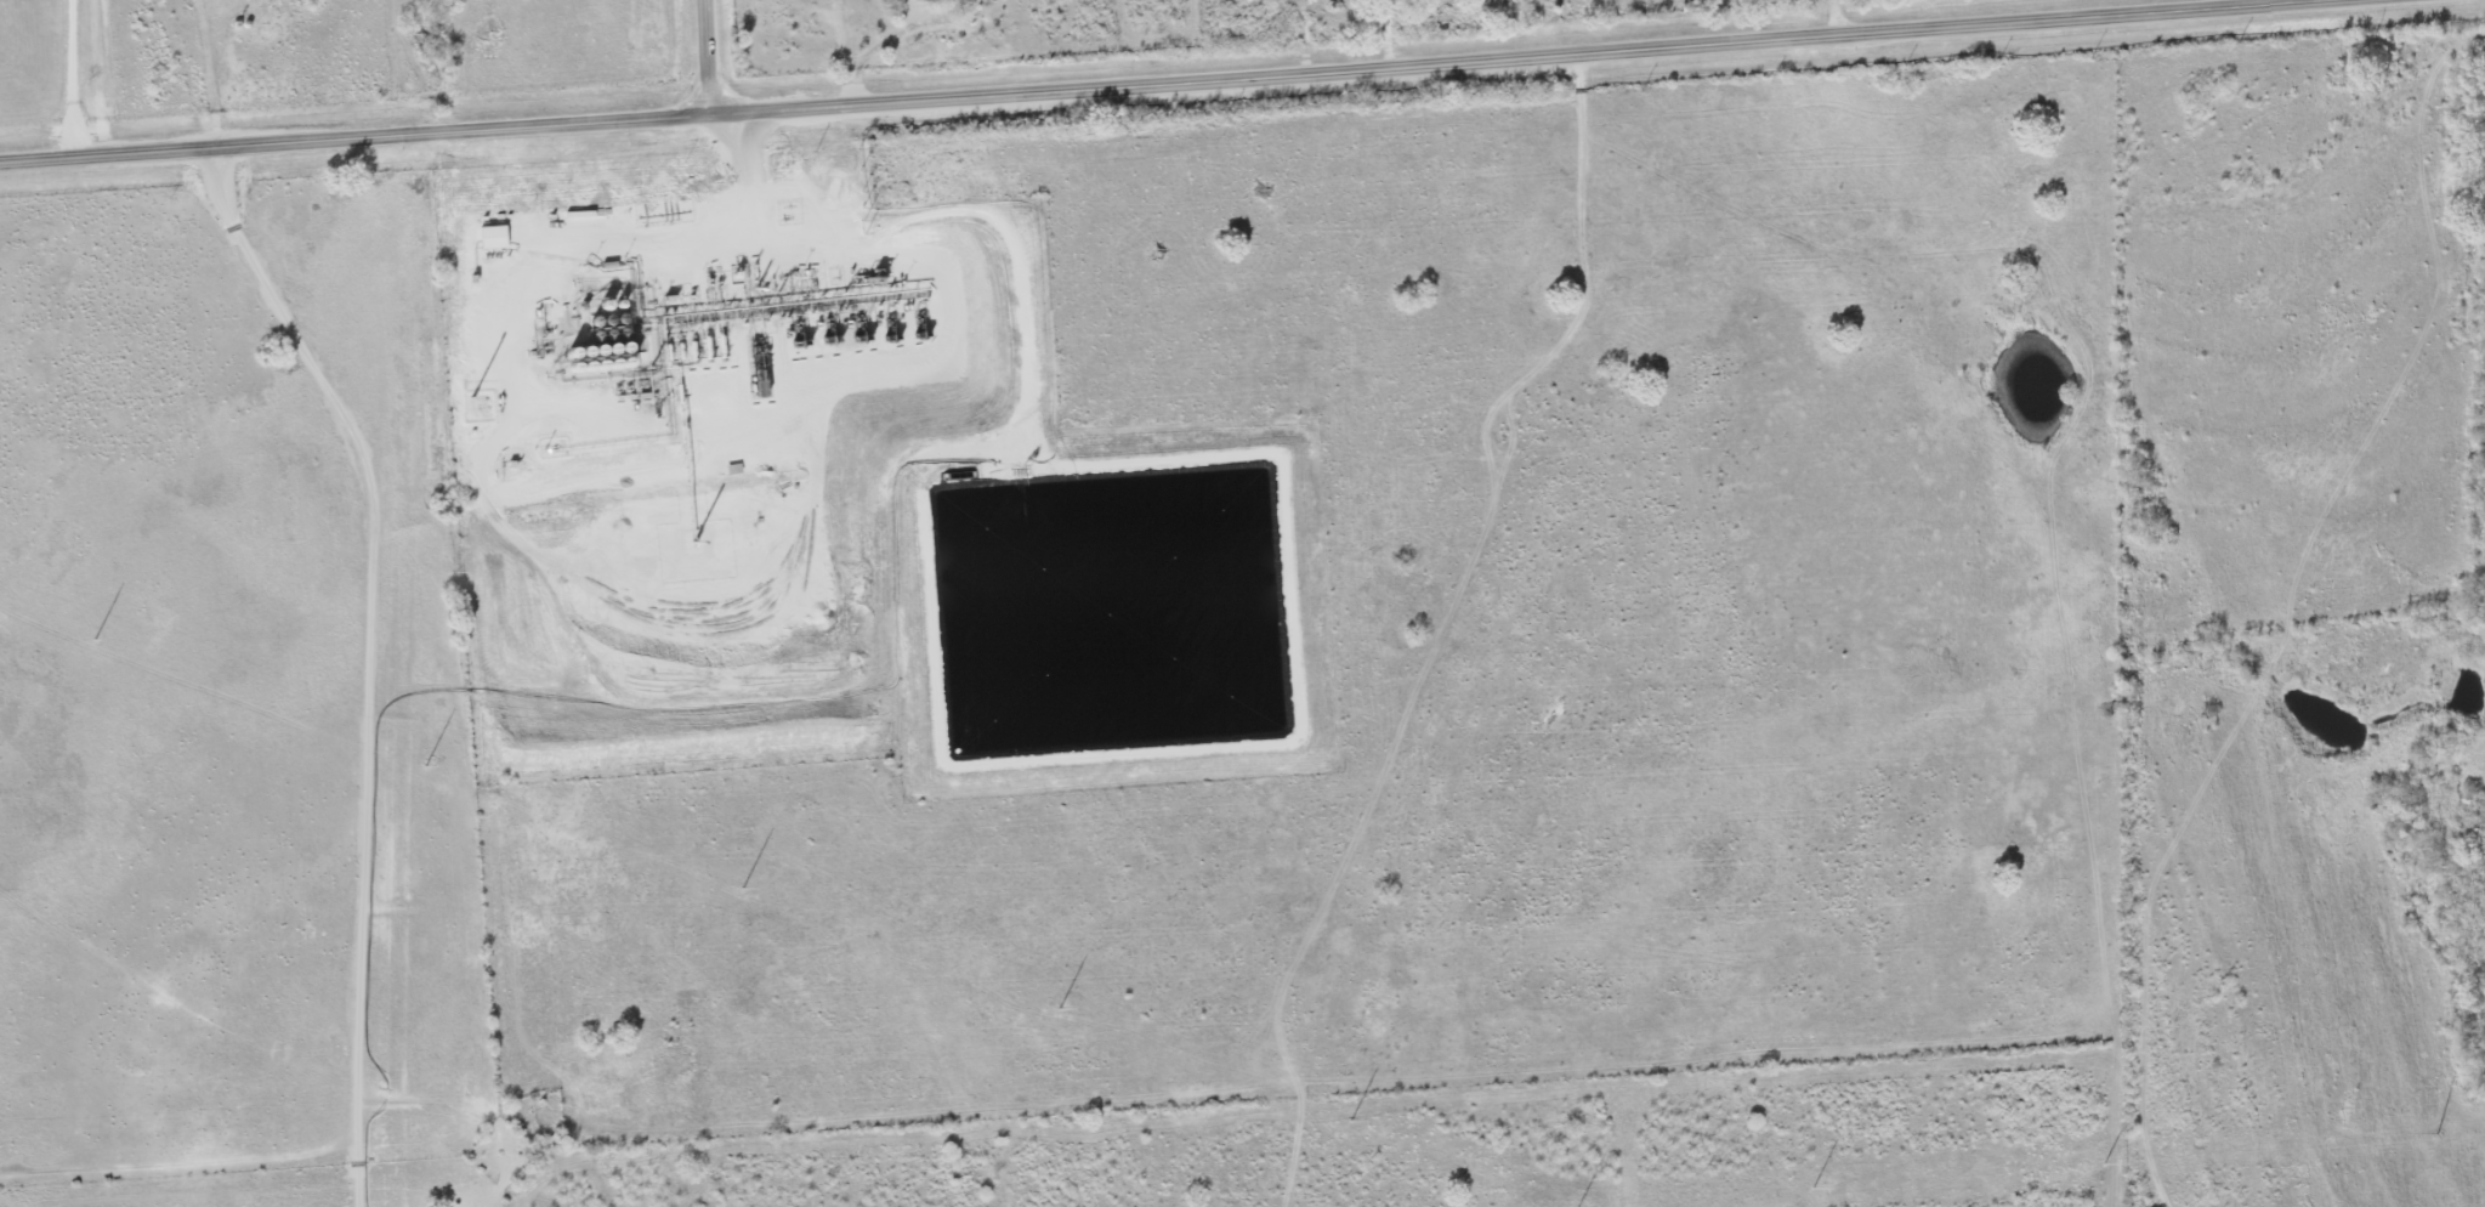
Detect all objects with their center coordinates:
building: (964, 0)
road: (1834, 13)
road: (715, 56)
road: (209, 73)
road: (72, 79)
road: (1139, 79)
power tower: (93, 639)
power tower: (425, 764)
power tower: (743, 889)
power tower: (1060, 1008)
power tower: (1350, 1120)
power tower: (2440, 1134)
power tower: (2106, 1163)
power tower: (1814, 1189)

